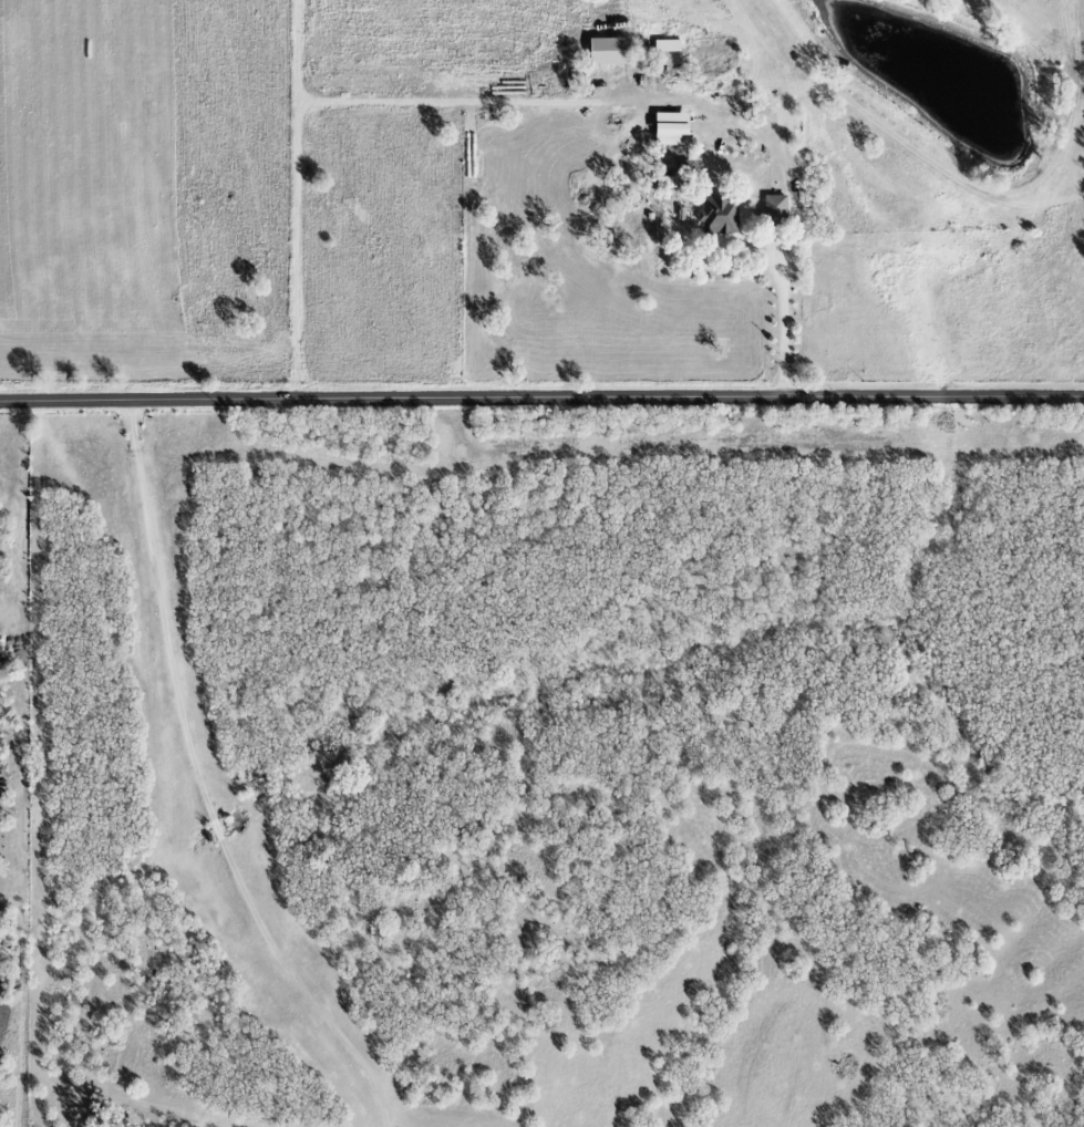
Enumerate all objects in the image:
building: (667, 45)
building: (608, 51)
road: (576, 104)
building: (670, 130)
road: (301, 200)
building: (775, 207)
building: (717, 216)
road: (783, 299)
road: (541, 400)
road: (202, 785)

